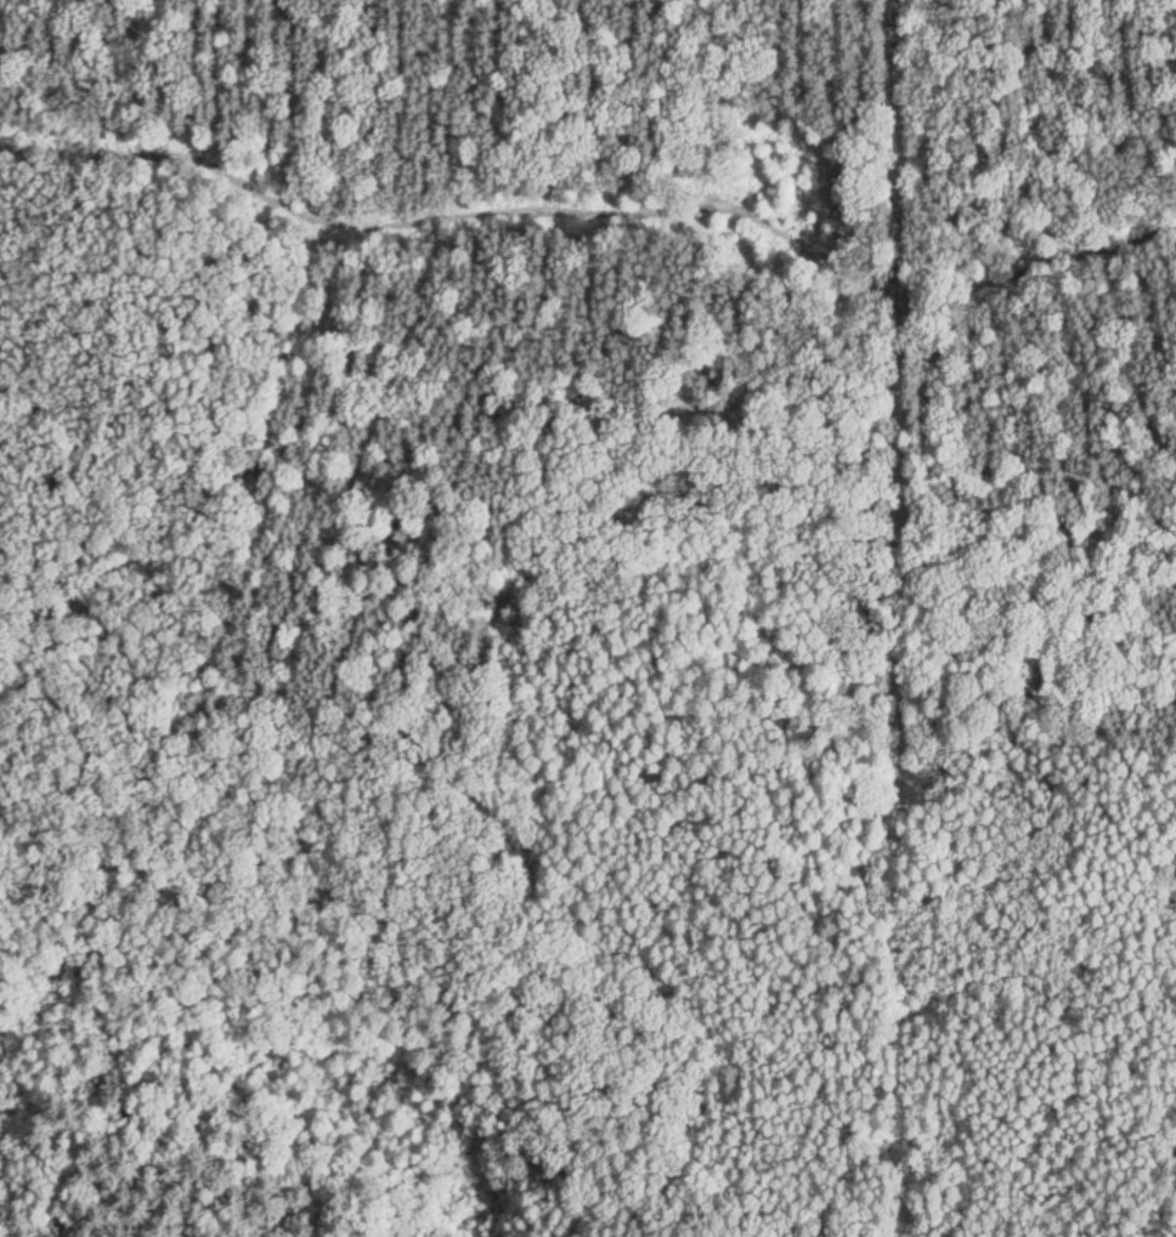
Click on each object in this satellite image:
road: (590, 302)
road: (426, 795)
road: (1099, 851)

